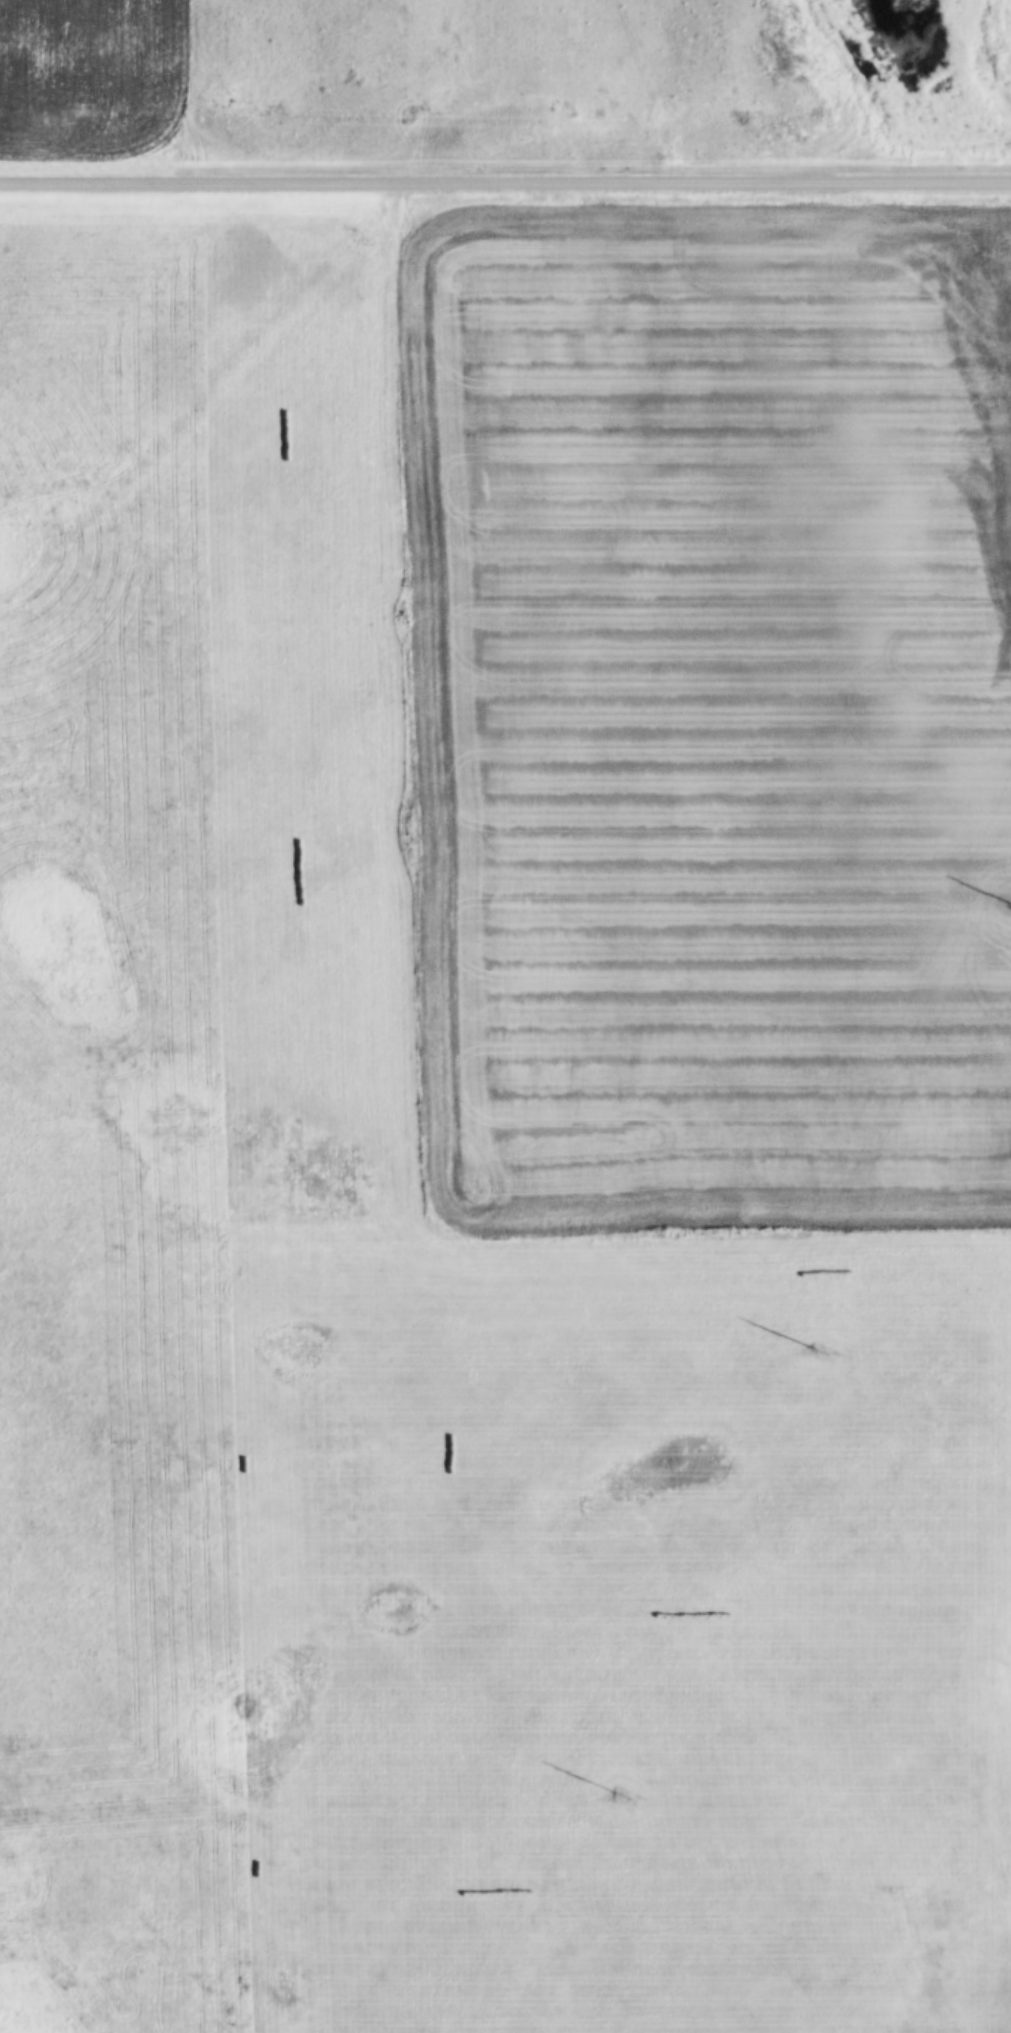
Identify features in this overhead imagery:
road: (505, 177)
power tower: (820, 1347)
power tower: (622, 1795)

